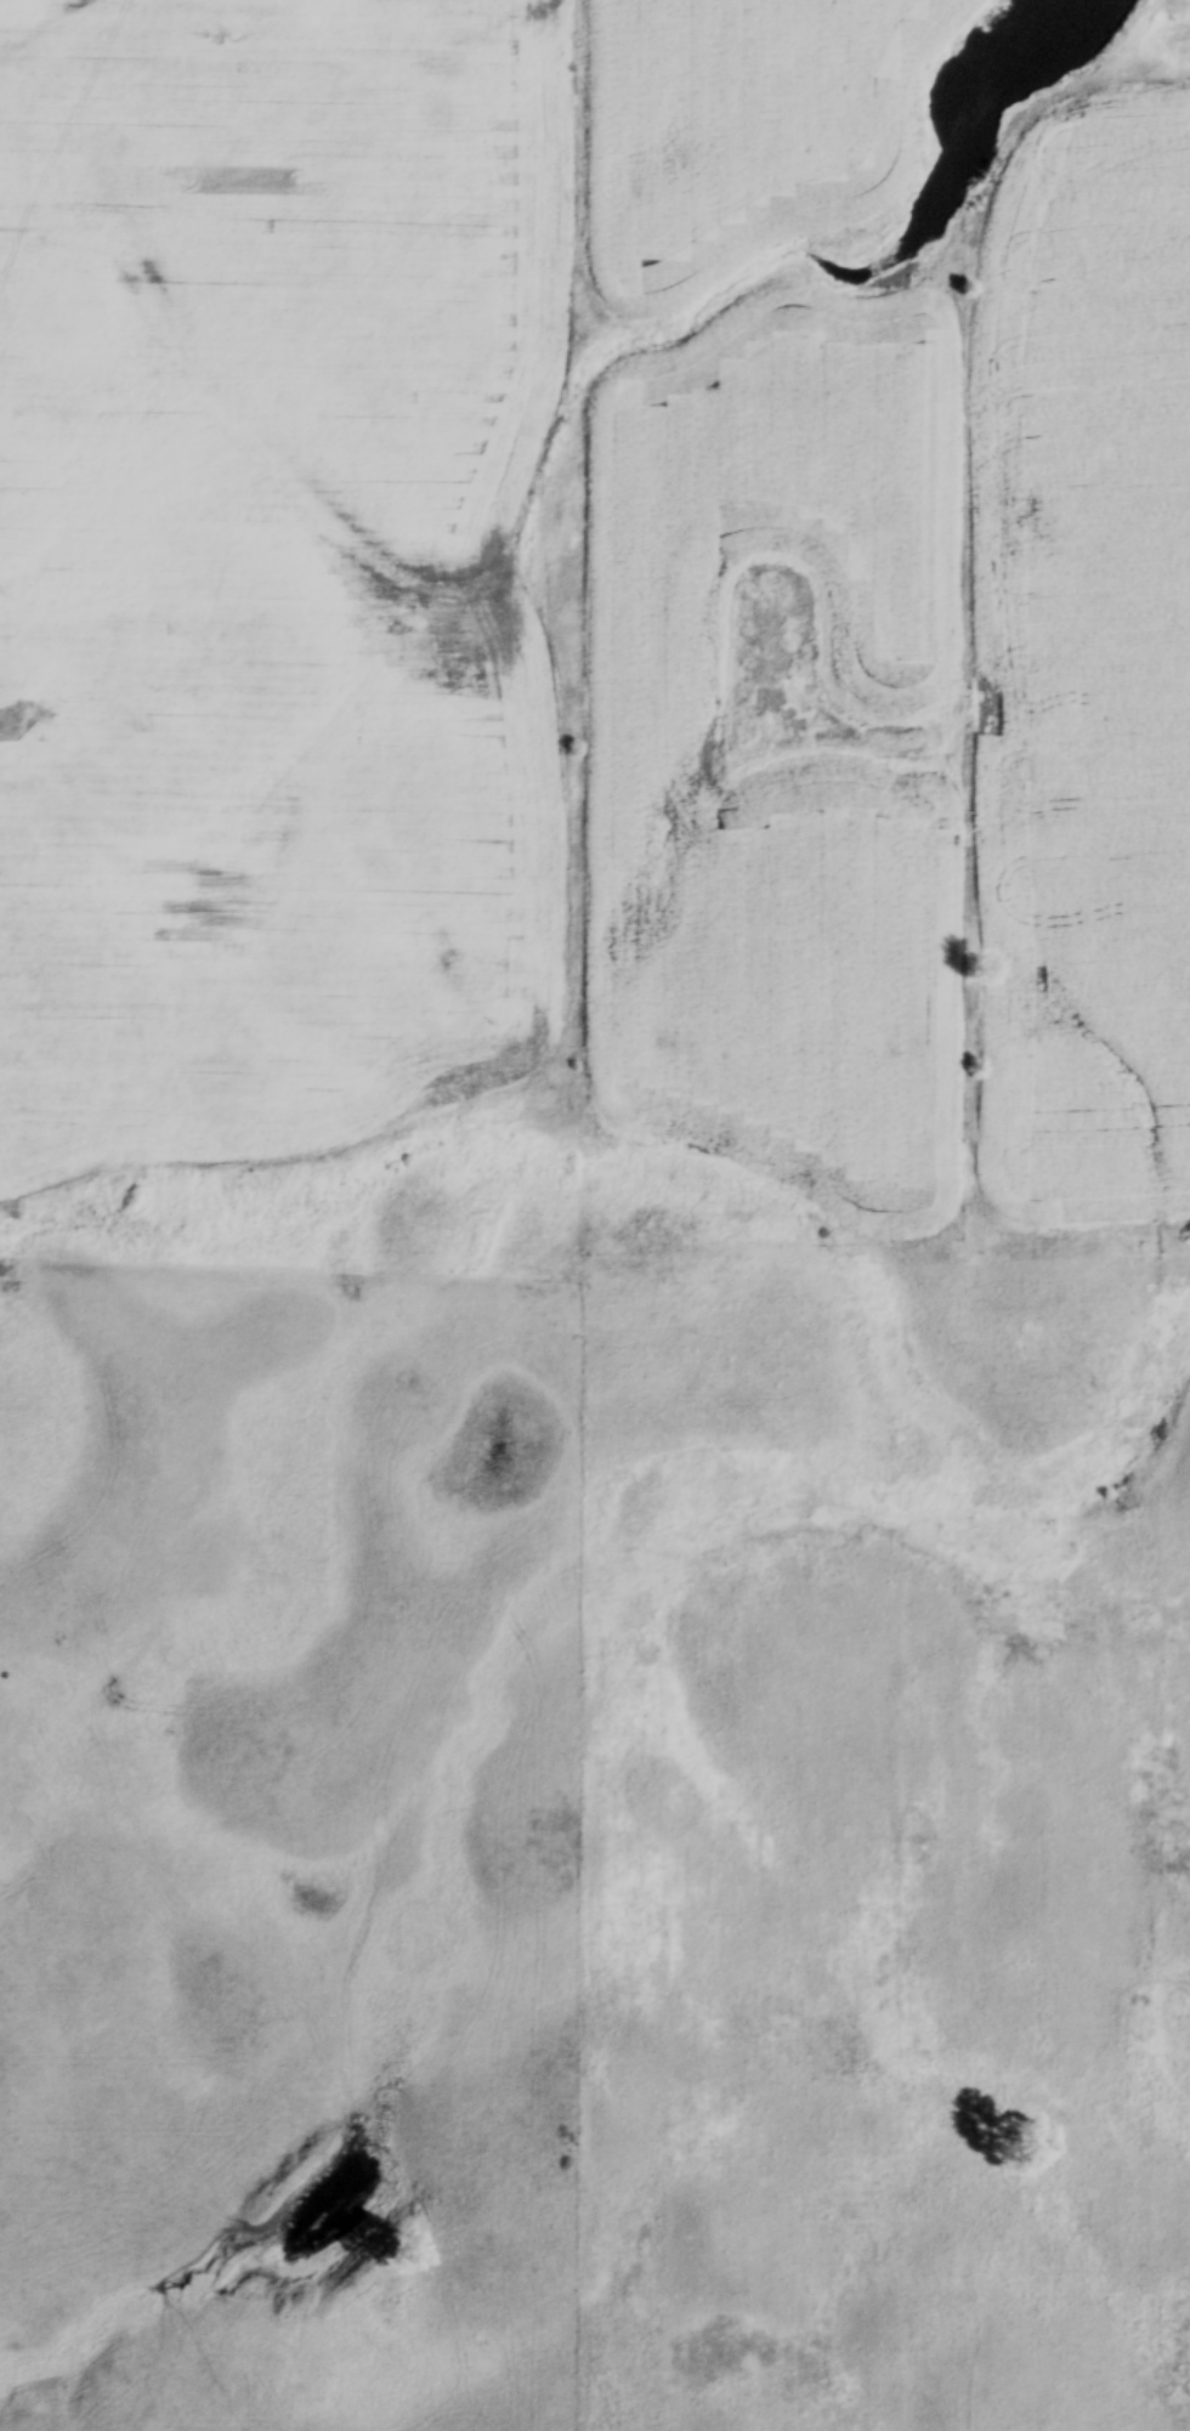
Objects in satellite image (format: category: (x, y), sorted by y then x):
river: (1115, 2)
river: (977, 72)
river: (311, 2203)

